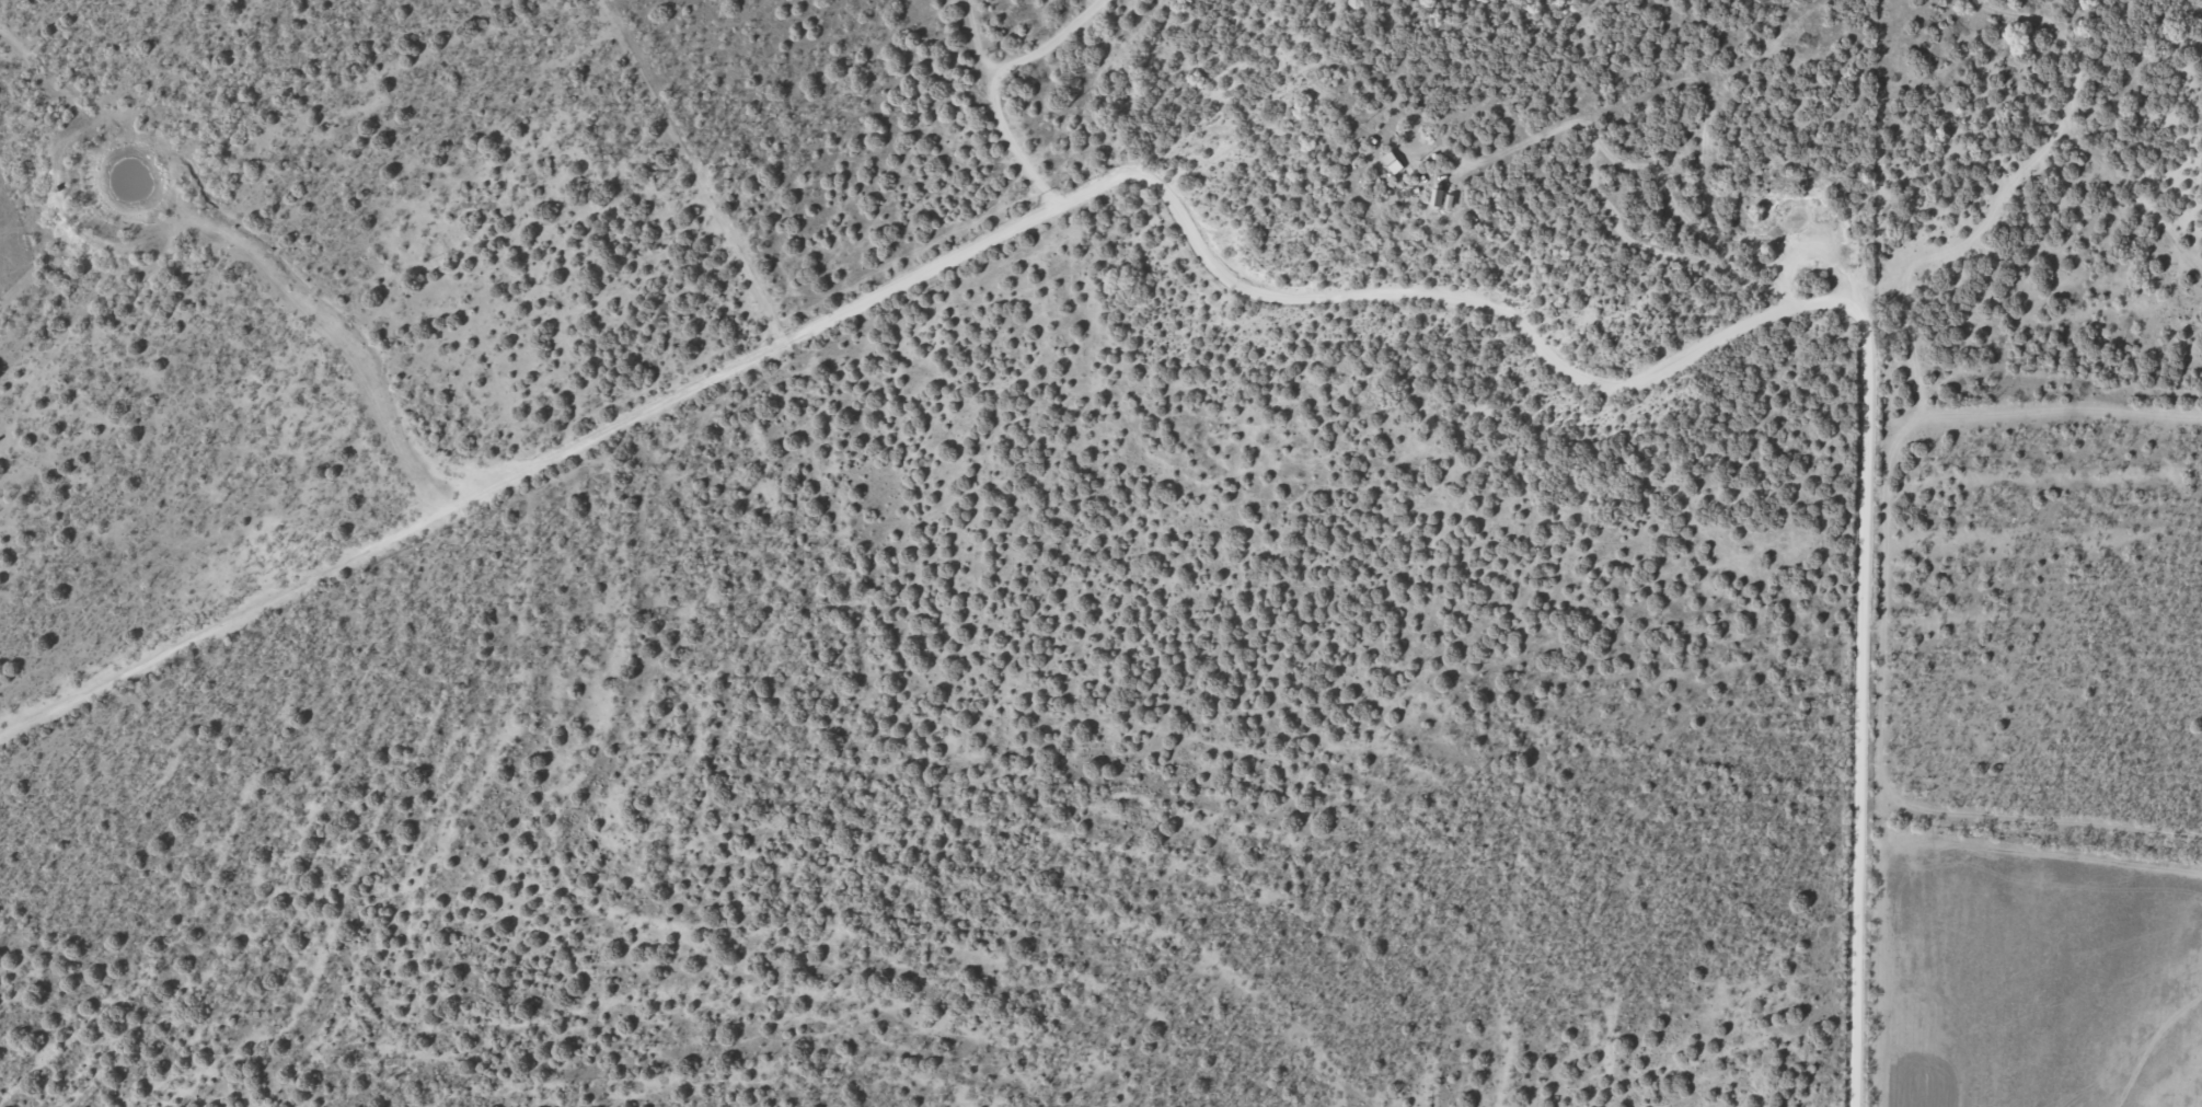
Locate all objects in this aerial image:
road: (994, 85)
road: (1258, 292)

